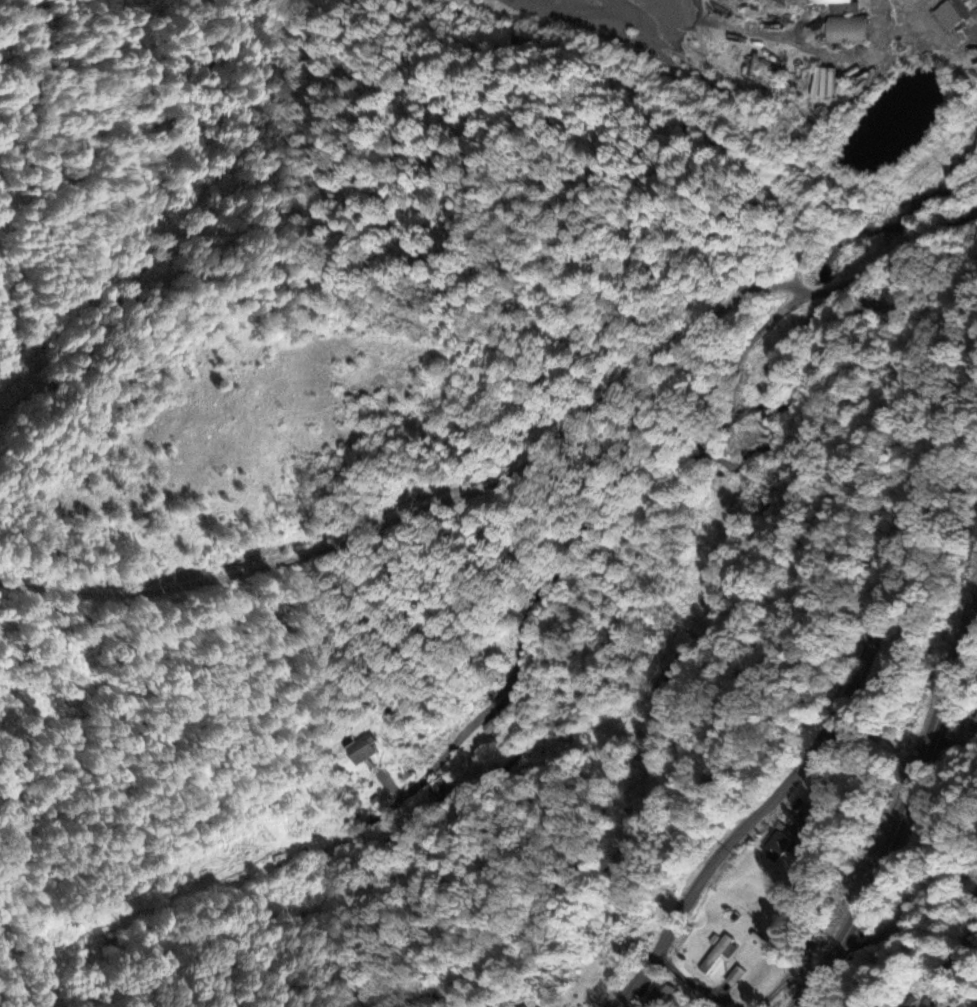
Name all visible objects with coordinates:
building: (947, 16)
building: (846, 29)
road: (833, 713)
building: (360, 750)
building: (439, 788)
road: (903, 799)
building: (775, 844)
road: (809, 855)
building: (717, 954)
building: (656, 995)

